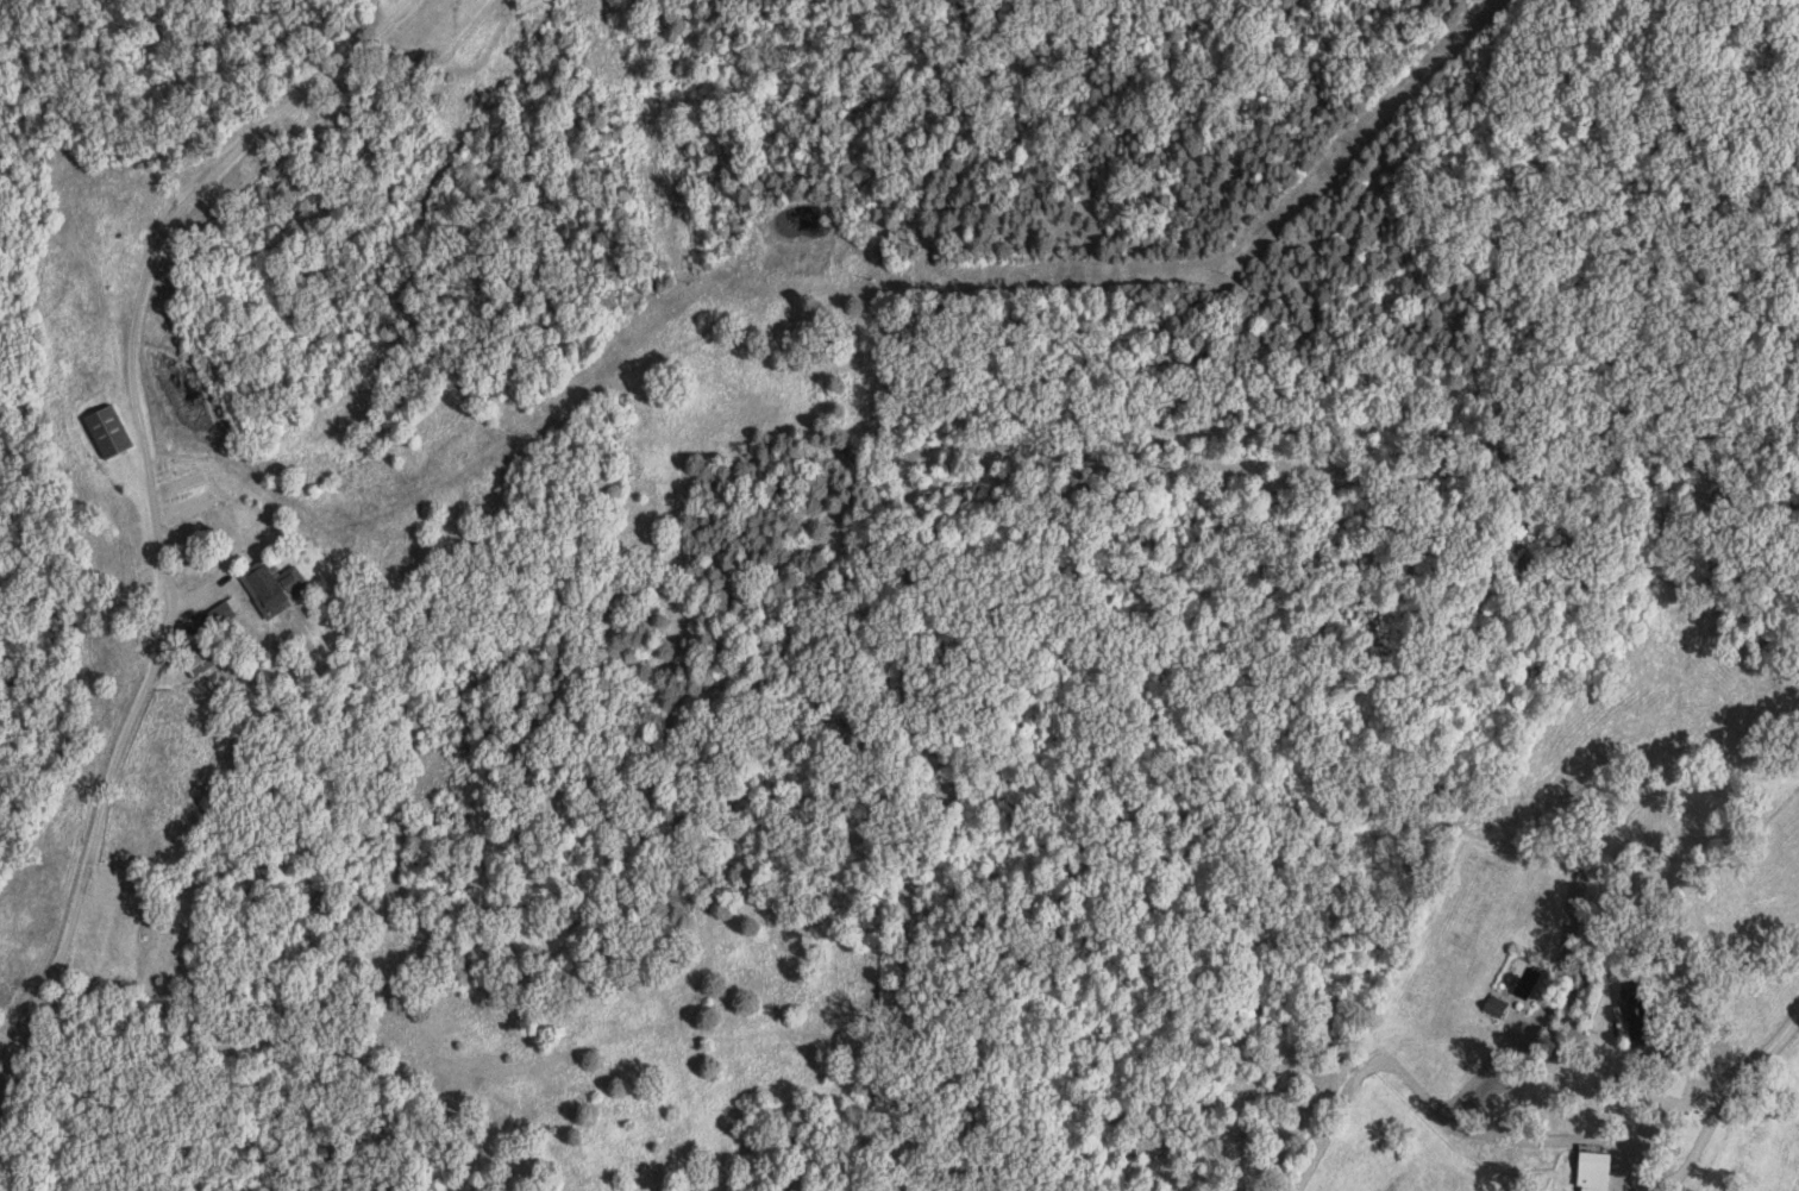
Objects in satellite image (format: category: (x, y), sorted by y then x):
building: (112, 433)
building: (276, 588)
building: (203, 665)
road: (77, 873)
road: (1706, 1095)
building: (1588, 1173)

